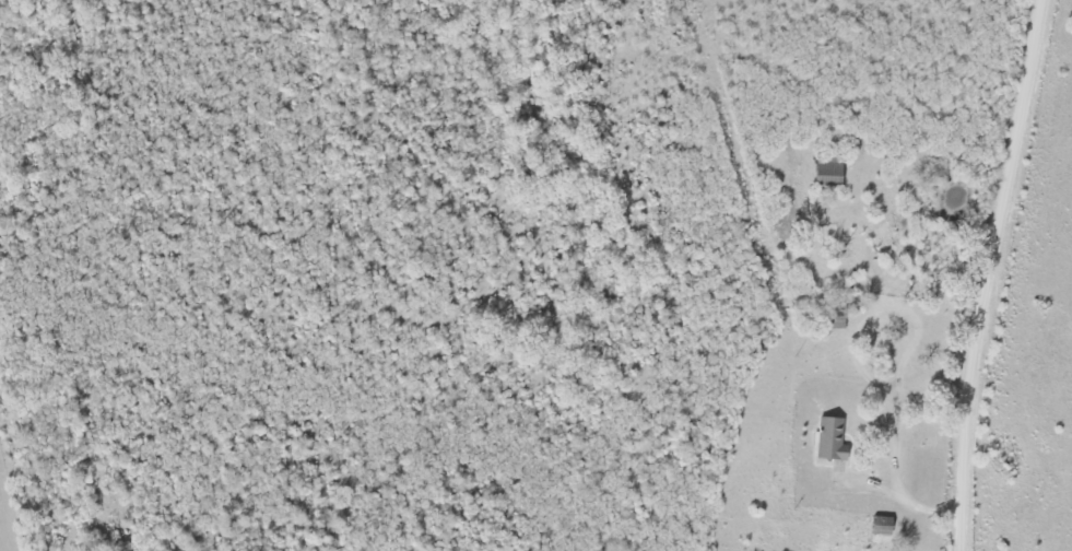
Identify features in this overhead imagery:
road: (986, 273)
building: (835, 442)

